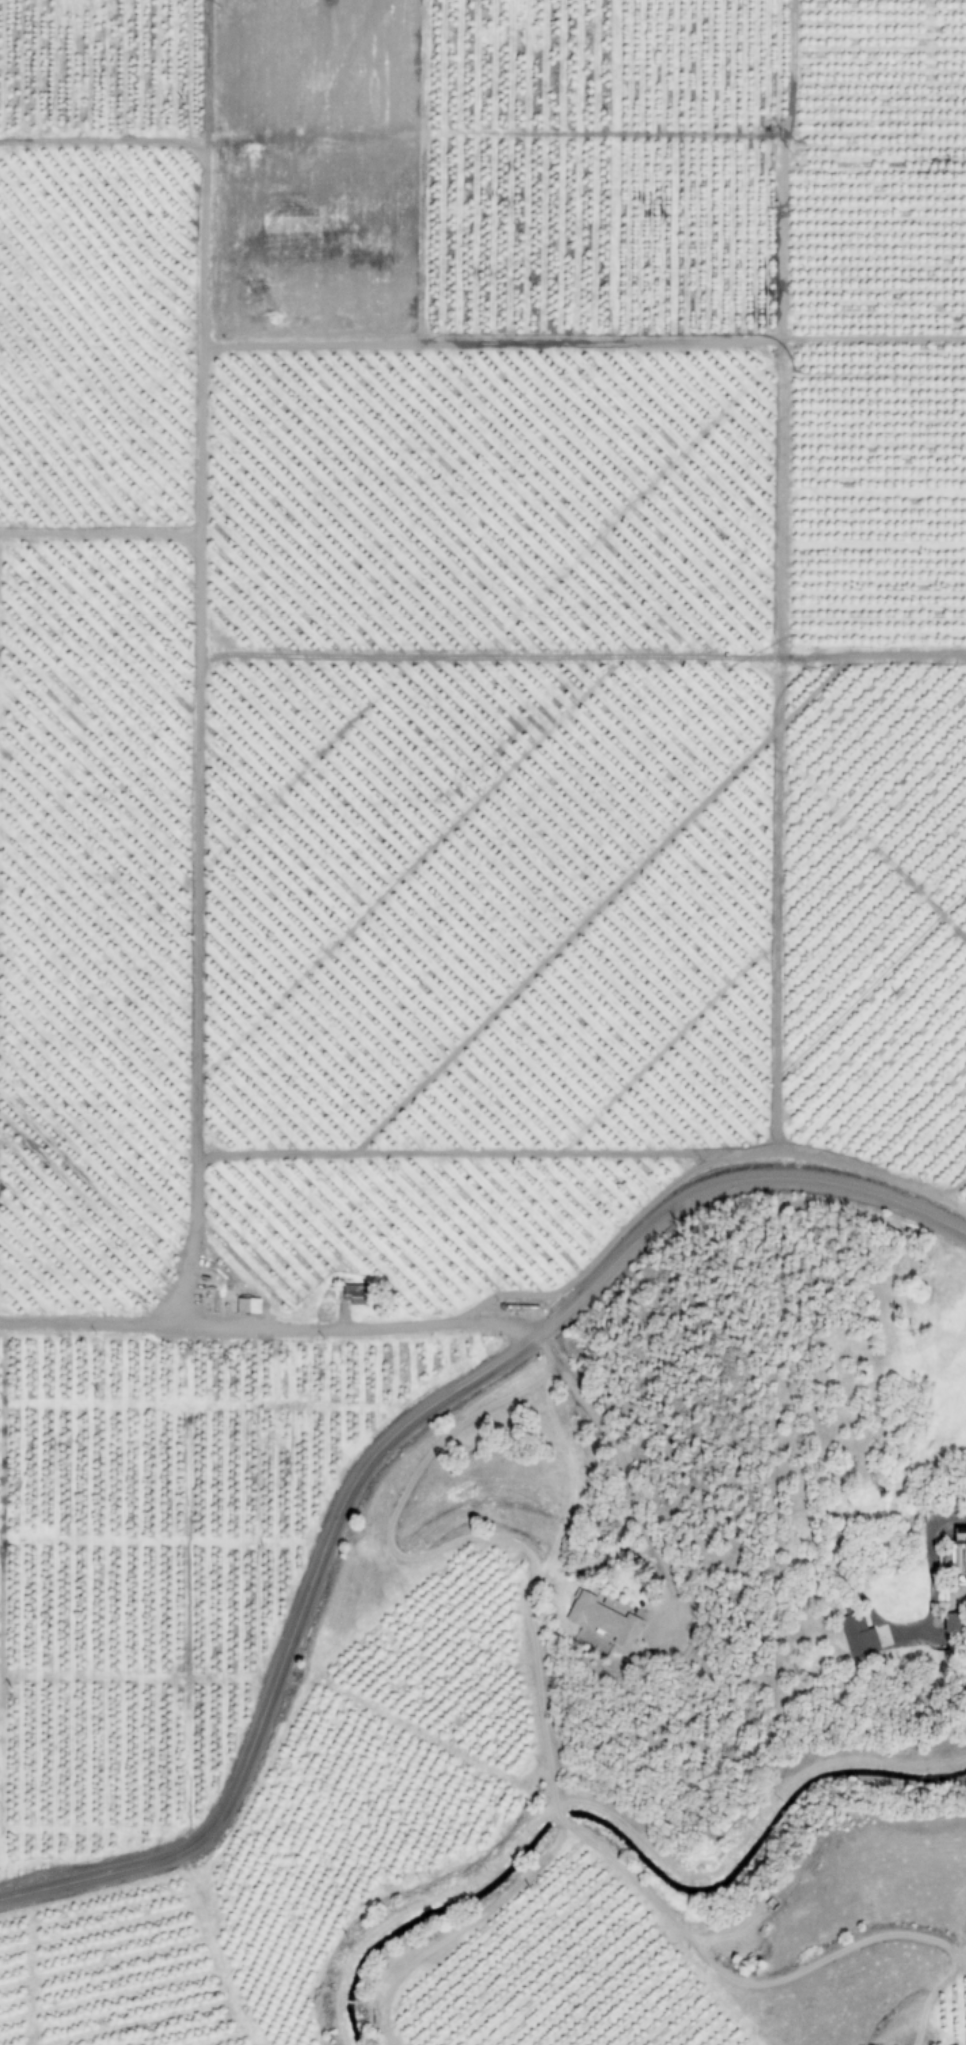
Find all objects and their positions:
building: (353, 1294)
building: (247, 1306)
road: (396, 1436)
building: (959, 1535)
building: (611, 1605)
building: (602, 1620)
building: (950, 1623)
building: (861, 1636)
road: (812, 1769)
road: (491, 1861)

